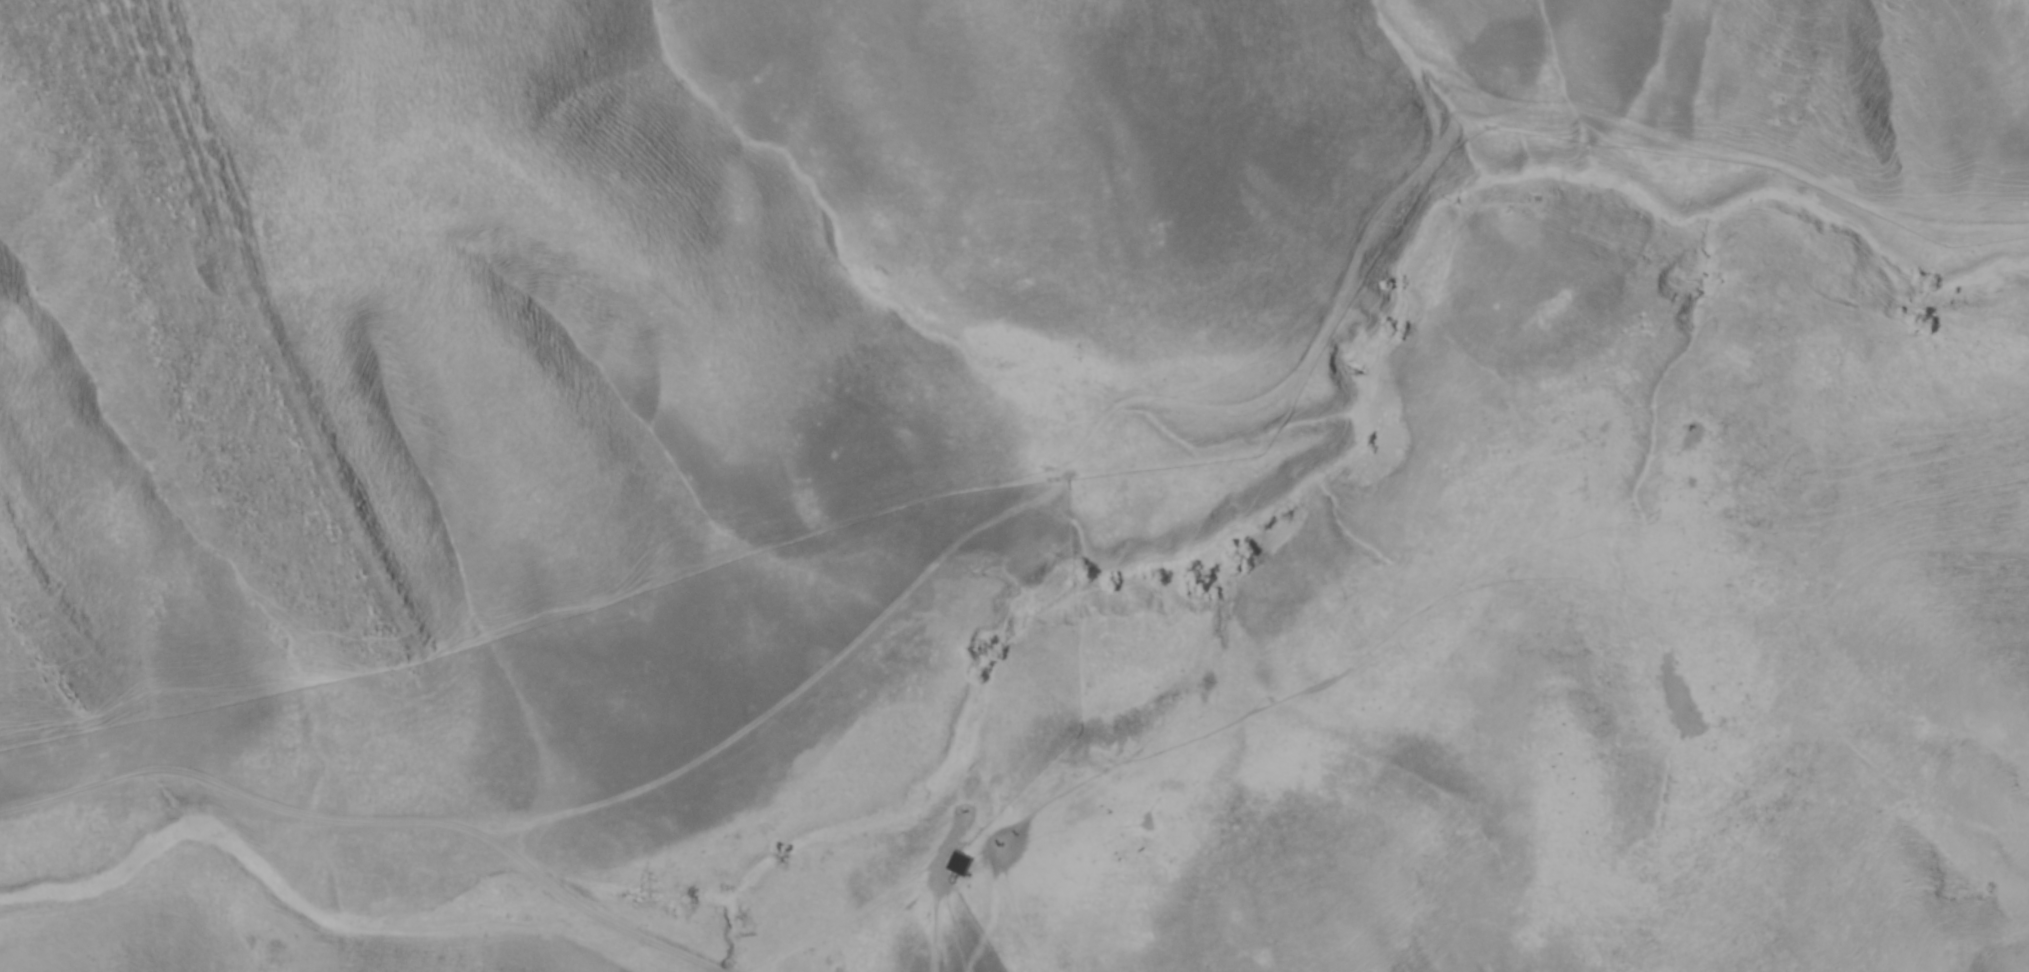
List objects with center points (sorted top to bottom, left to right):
road: (850, 412)

